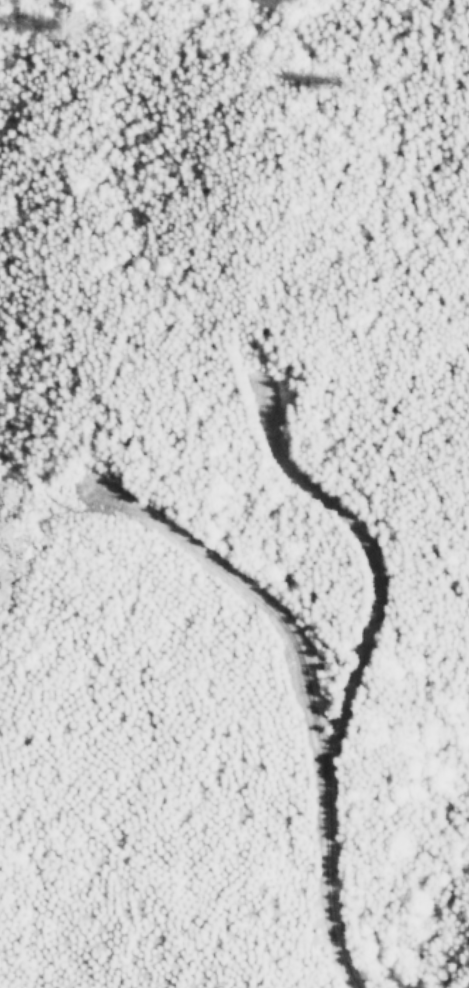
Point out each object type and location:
road: (363, 546)
road: (302, 686)

